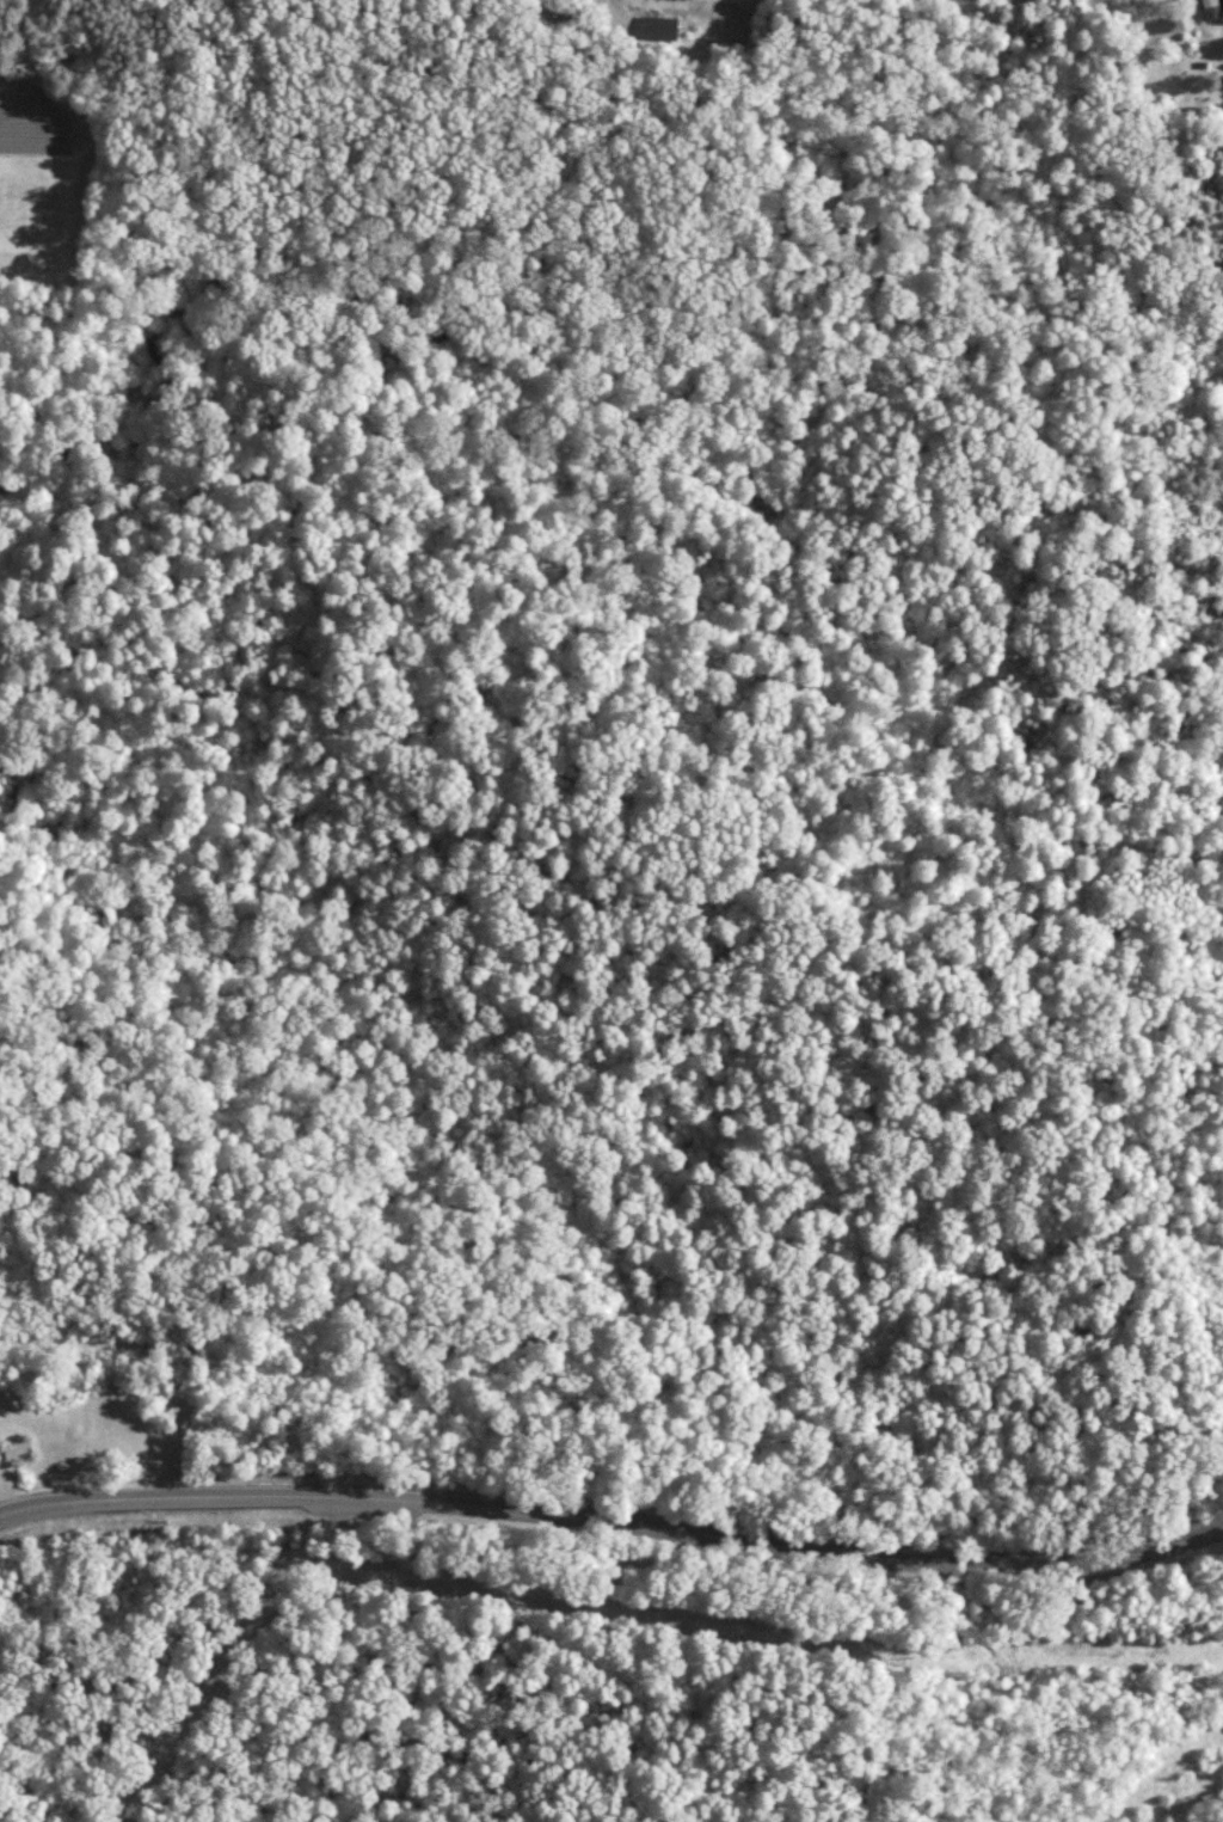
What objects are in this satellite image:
road: (614, 10)
building: (1212, 11)
building: (659, 29)
road: (48, 1341)
road: (615, 1521)

